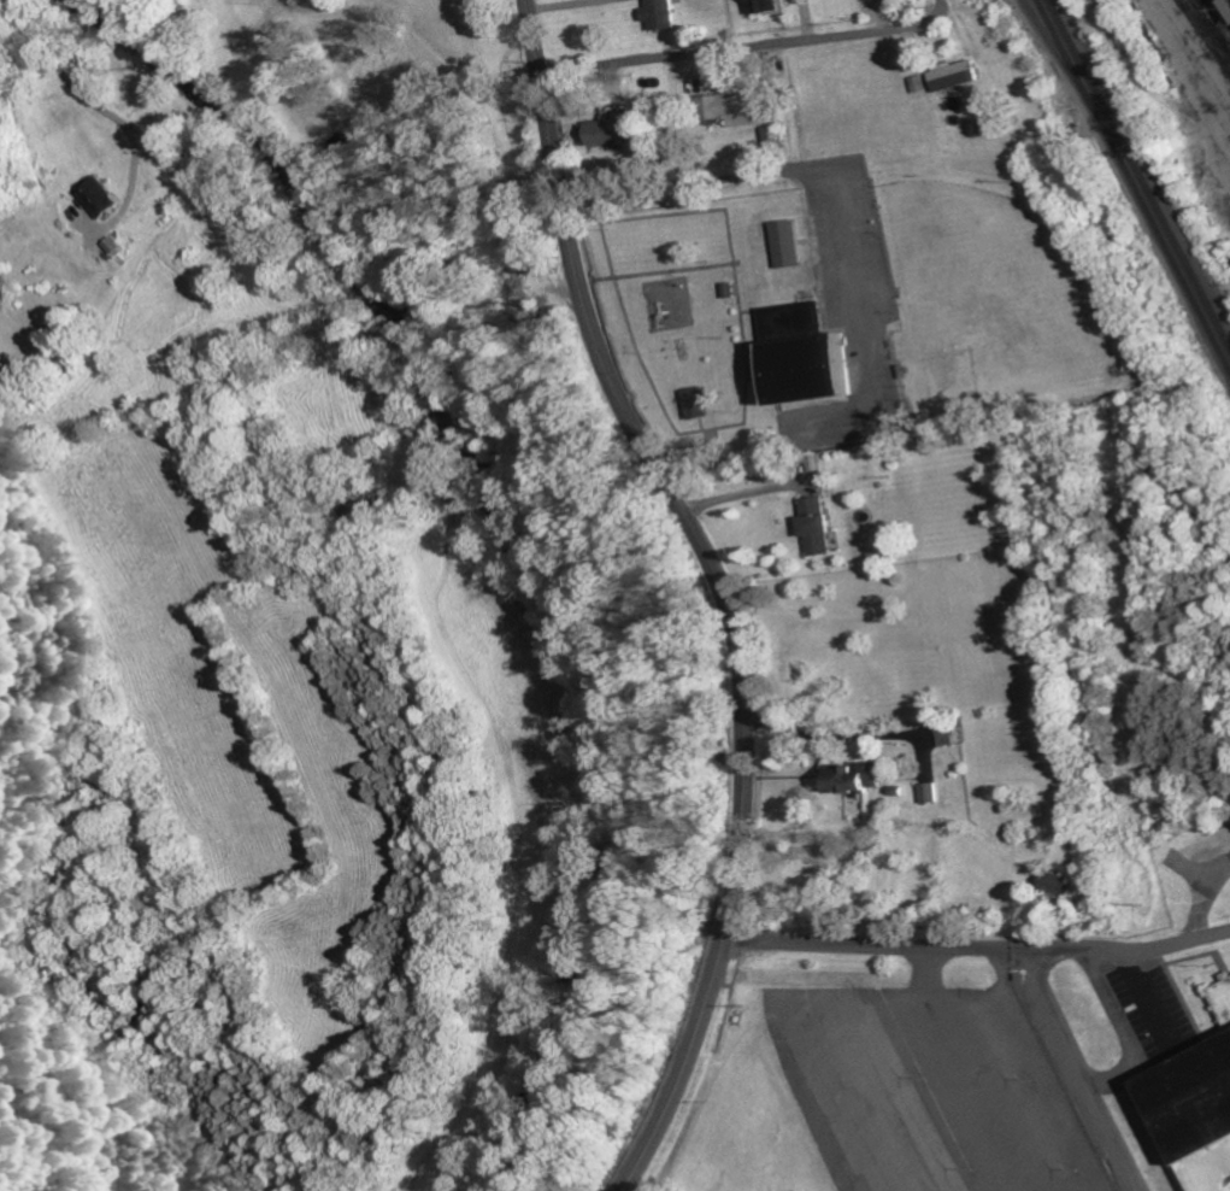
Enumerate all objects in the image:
building: (884, 0)
building: (763, 6)
building: (658, 14)
railway: (1216, 20)
railway: (1206, 31)
road: (747, 48)
railway: (1063, 58)
building: (952, 76)
road: (71, 78)
building: (917, 83)
building: (730, 108)
building: (606, 131)
railway: (1140, 172)
road: (710, 178)
railway: (1134, 183)
building: (102, 196)
building: (787, 245)
park: (991, 300)
park: (843, 305)
parking lot: (851, 319)
building: (800, 353)
building: (693, 401)
road: (666, 413)
building: (816, 526)
road: (719, 589)
building: (851, 778)
building: (928, 792)
building: (1055, 885)
road: (982, 935)
road: (1089, 1068)
building: (1193, 1104)

